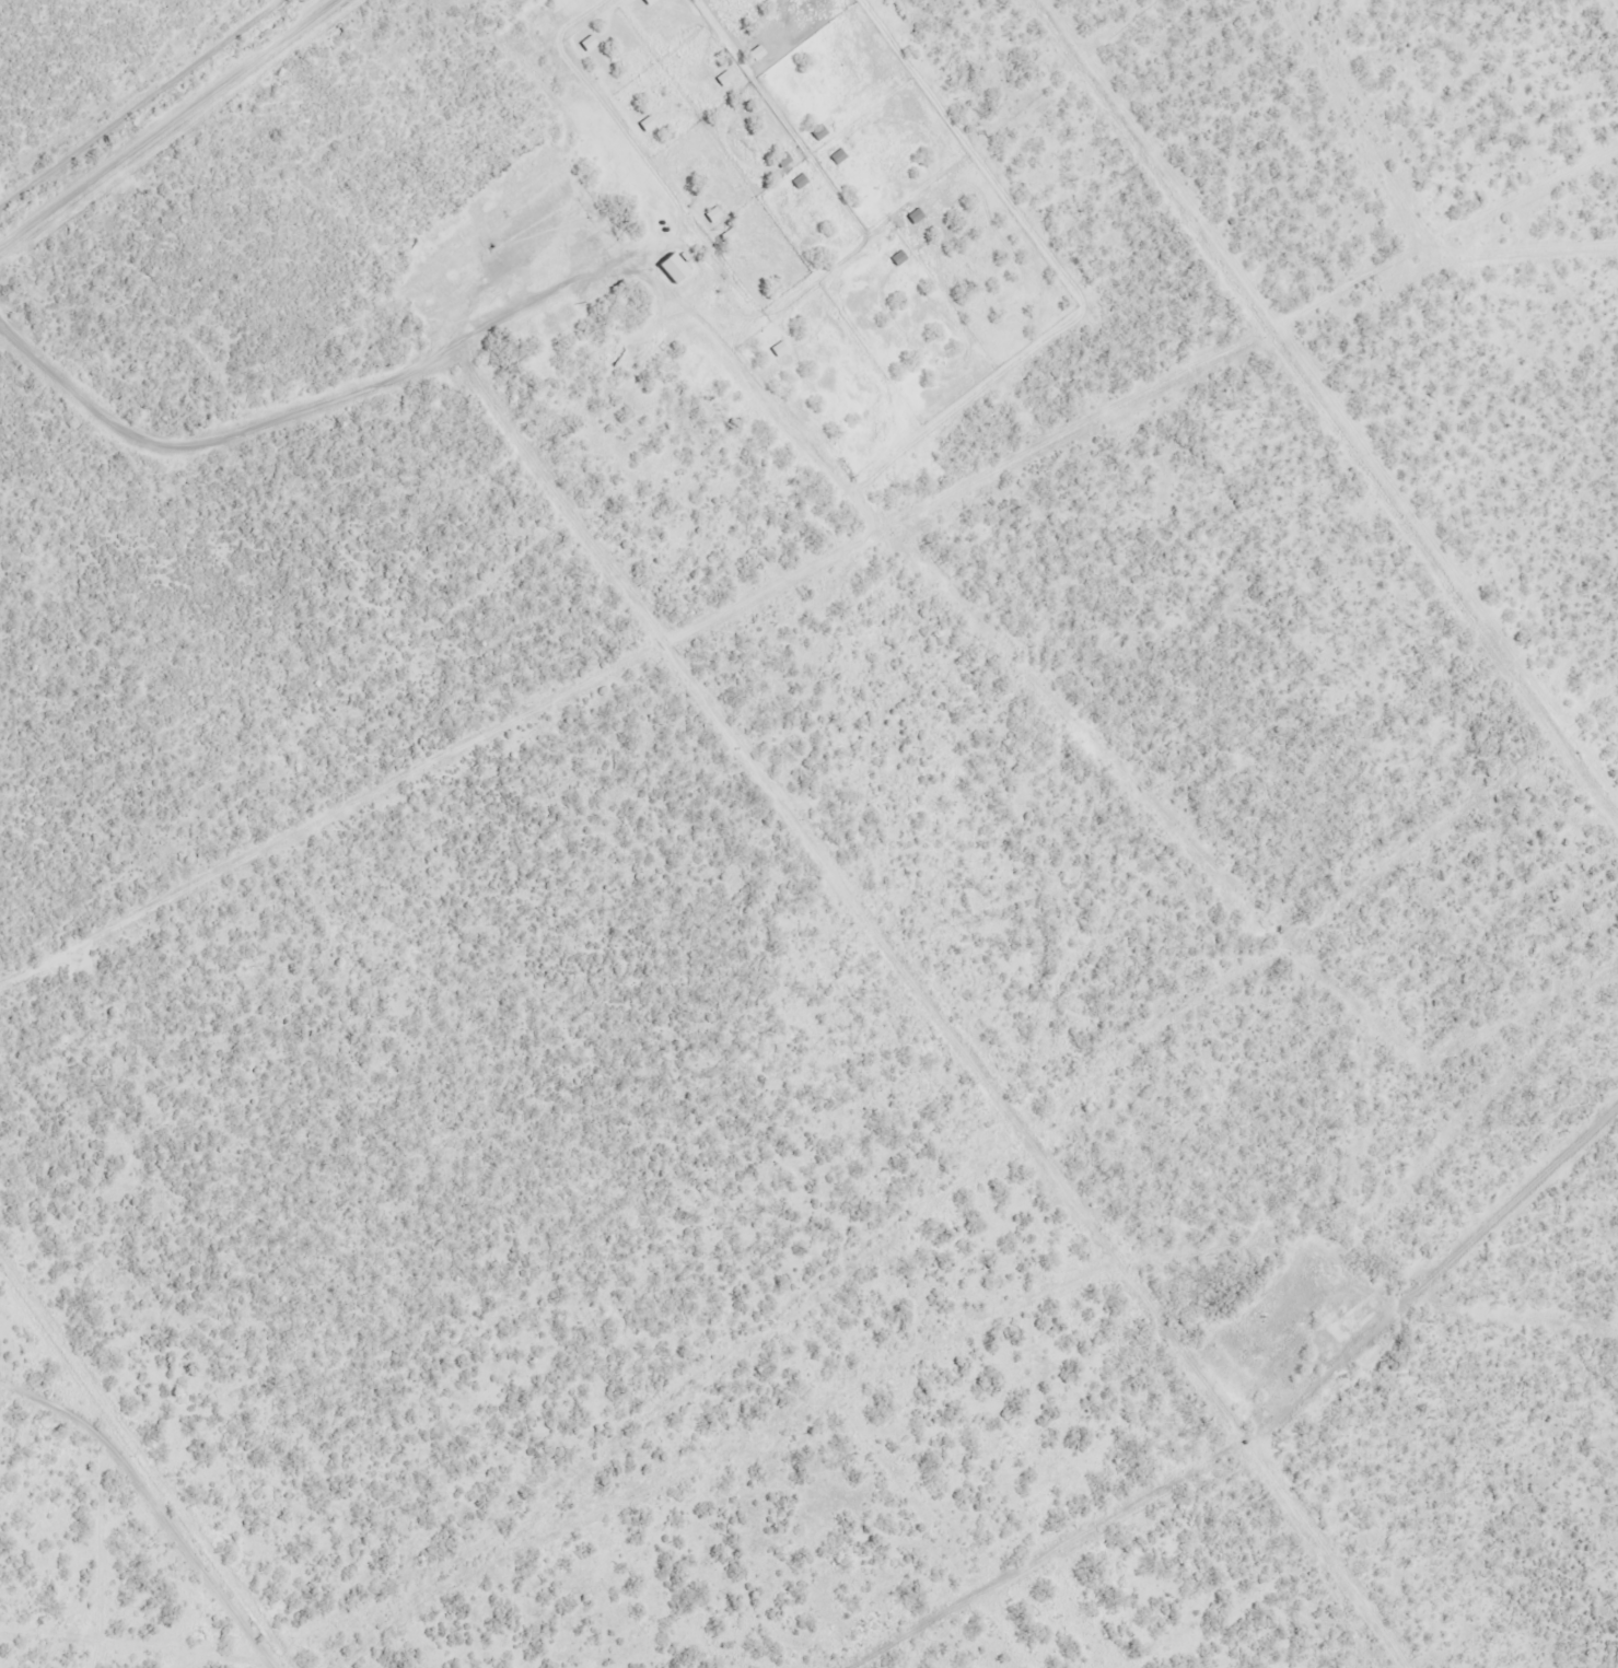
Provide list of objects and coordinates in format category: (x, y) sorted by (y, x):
road: (179, 109)
road: (1253, 1307)

